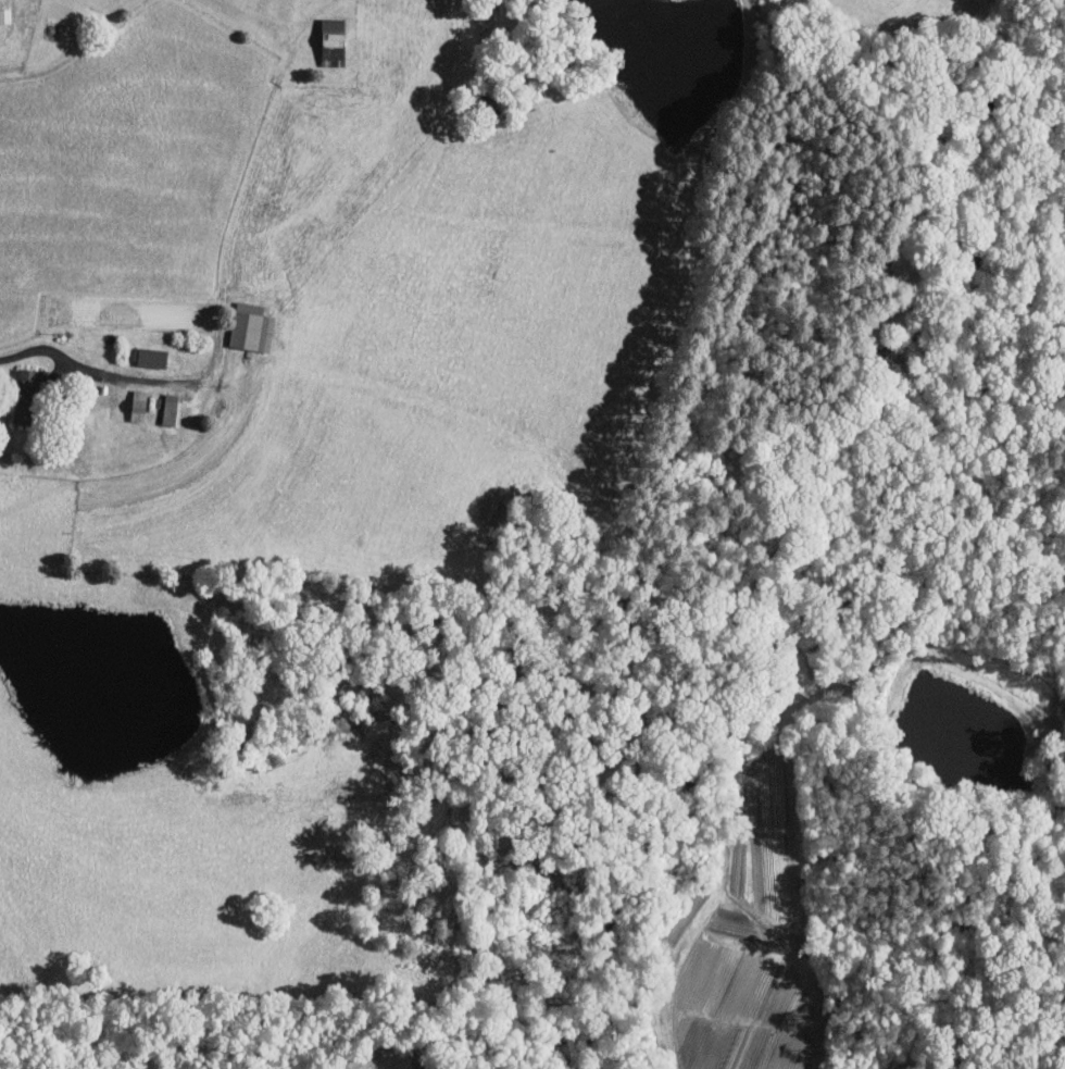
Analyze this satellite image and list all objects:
building: (331, 40)
building: (251, 326)
building: (151, 357)
road: (90, 368)
building: (26, 396)
building: (138, 405)
building: (172, 408)
road: (58, 849)

